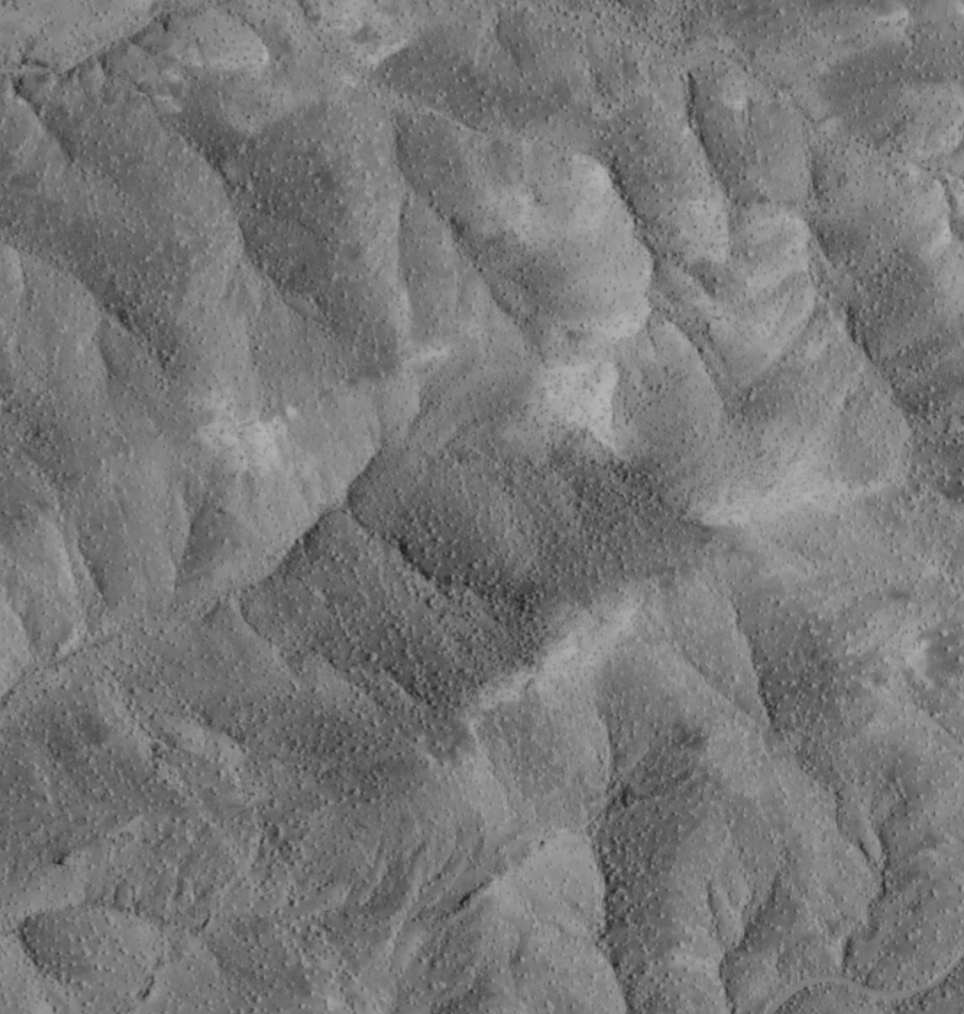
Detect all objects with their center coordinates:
road: (885, 1001)

